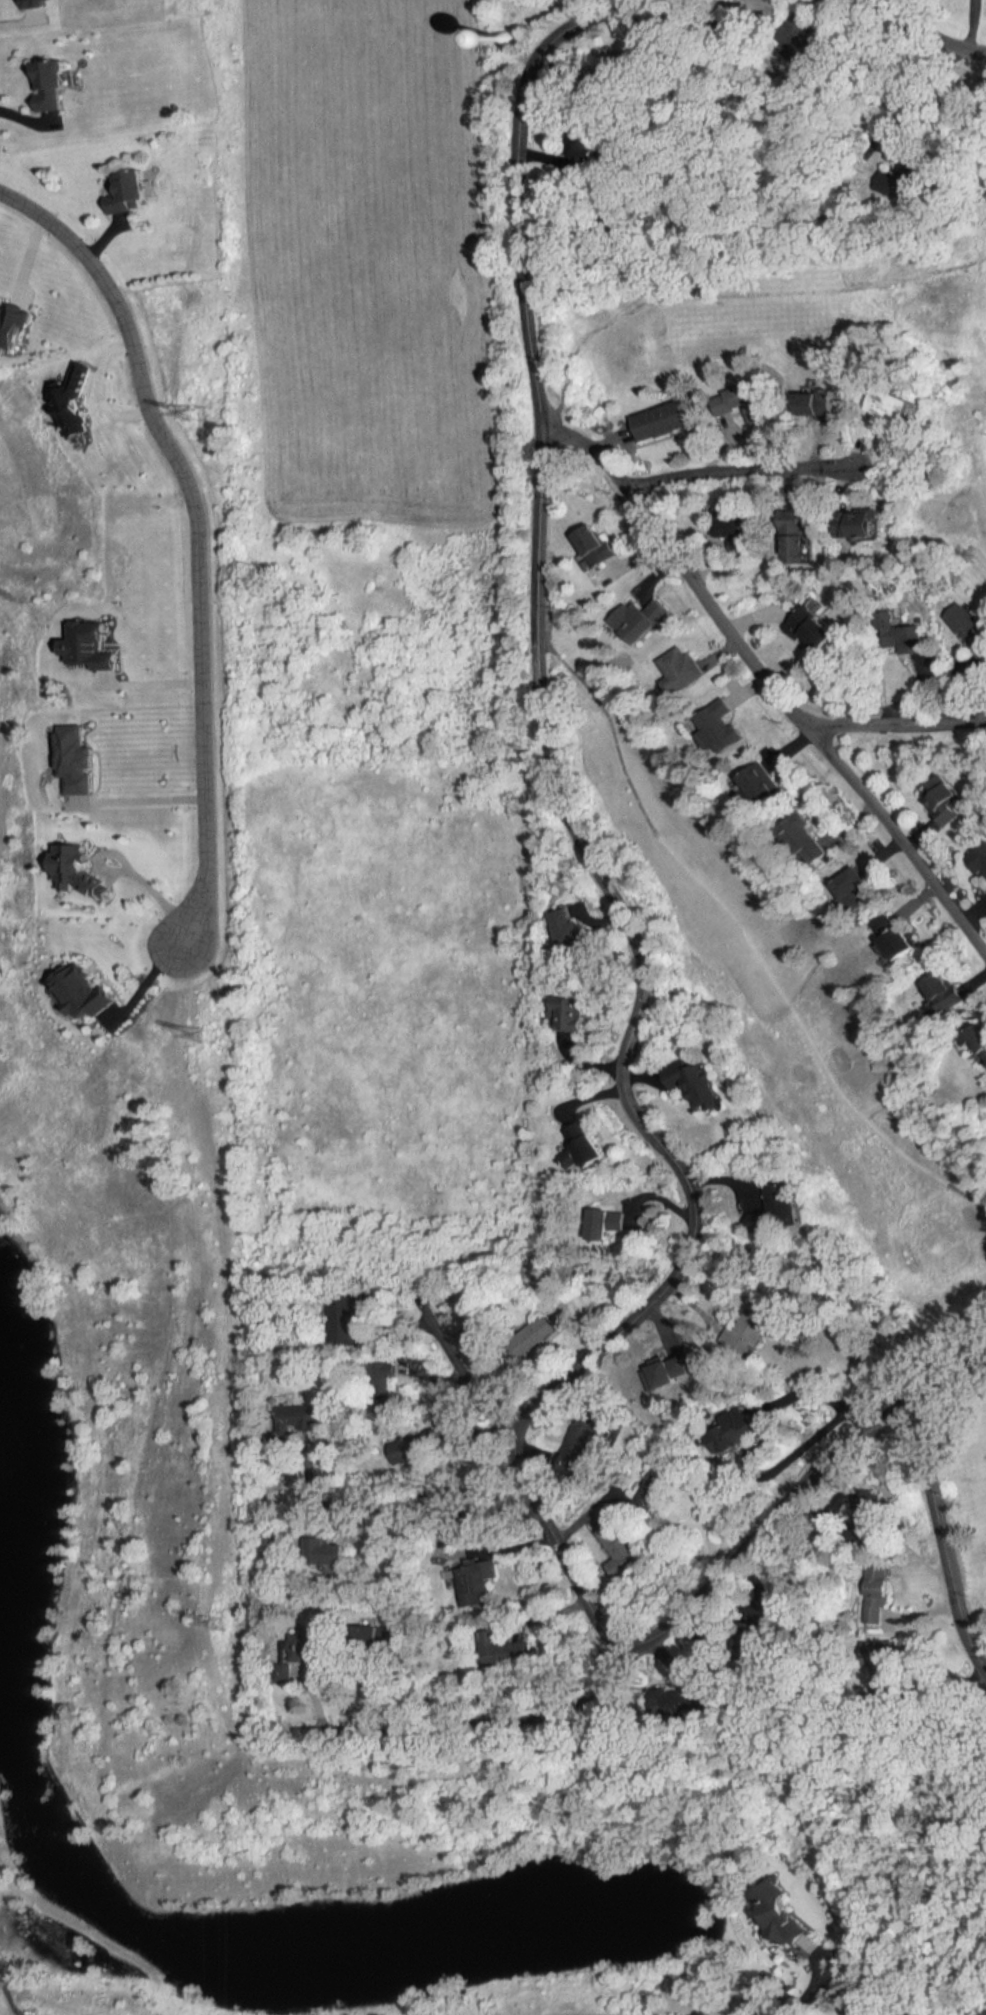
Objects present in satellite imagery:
road: (929, 30)
water tower: (501, 46)
road: (921, 83)
building: (584, 150)
building: (903, 174)
building: (134, 192)
building: (747, 401)
building: (893, 403)
power tower: (199, 414)
building: (663, 421)
road: (749, 463)
building: (862, 523)
building: (739, 532)
road: (200, 536)
building: (598, 544)
building: (802, 548)
road: (721, 610)
building: (640, 619)
building: (816, 630)
building: (968, 631)
building: (682, 669)
road: (153, 679)
park: (790, 693)
building: (721, 727)
building: (764, 785)
road: (137, 799)
building: (945, 803)
road: (898, 828)
building: (808, 838)
building: (980, 861)
road: (596, 865)
road: (132, 867)
building: (858, 888)
building: (569, 930)
building: (900, 938)
road: (144, 981)
building: (948, 991)
building: (570, 1014)
building: (981, 1036)
power tower: (214, 1037)
building: (697, 1083)
building: (586, 1146)
building: (783, 1209)
building: (603, 1226)
building: (541, 1330)
building: (752, 1332)
road: (964, 1361)
road: (468, 1369)
building: (295, 1419)
building: (732, 1428)
road: (756, 1439)
building: (426, 1447)
building: (656, 1492)
road: (426, 1508)
road: (942, 1516)
building: (621, 1552)
road: (481, 1553)
building: (333, 1555)
road: (764, 1580)
building: (472, 1584)
building: (871, 1593)
power tower: (225, 1625)
road: (666, 1625)
building: (306, 1647)
building: (502, 1651)
road: (807, 1992)

